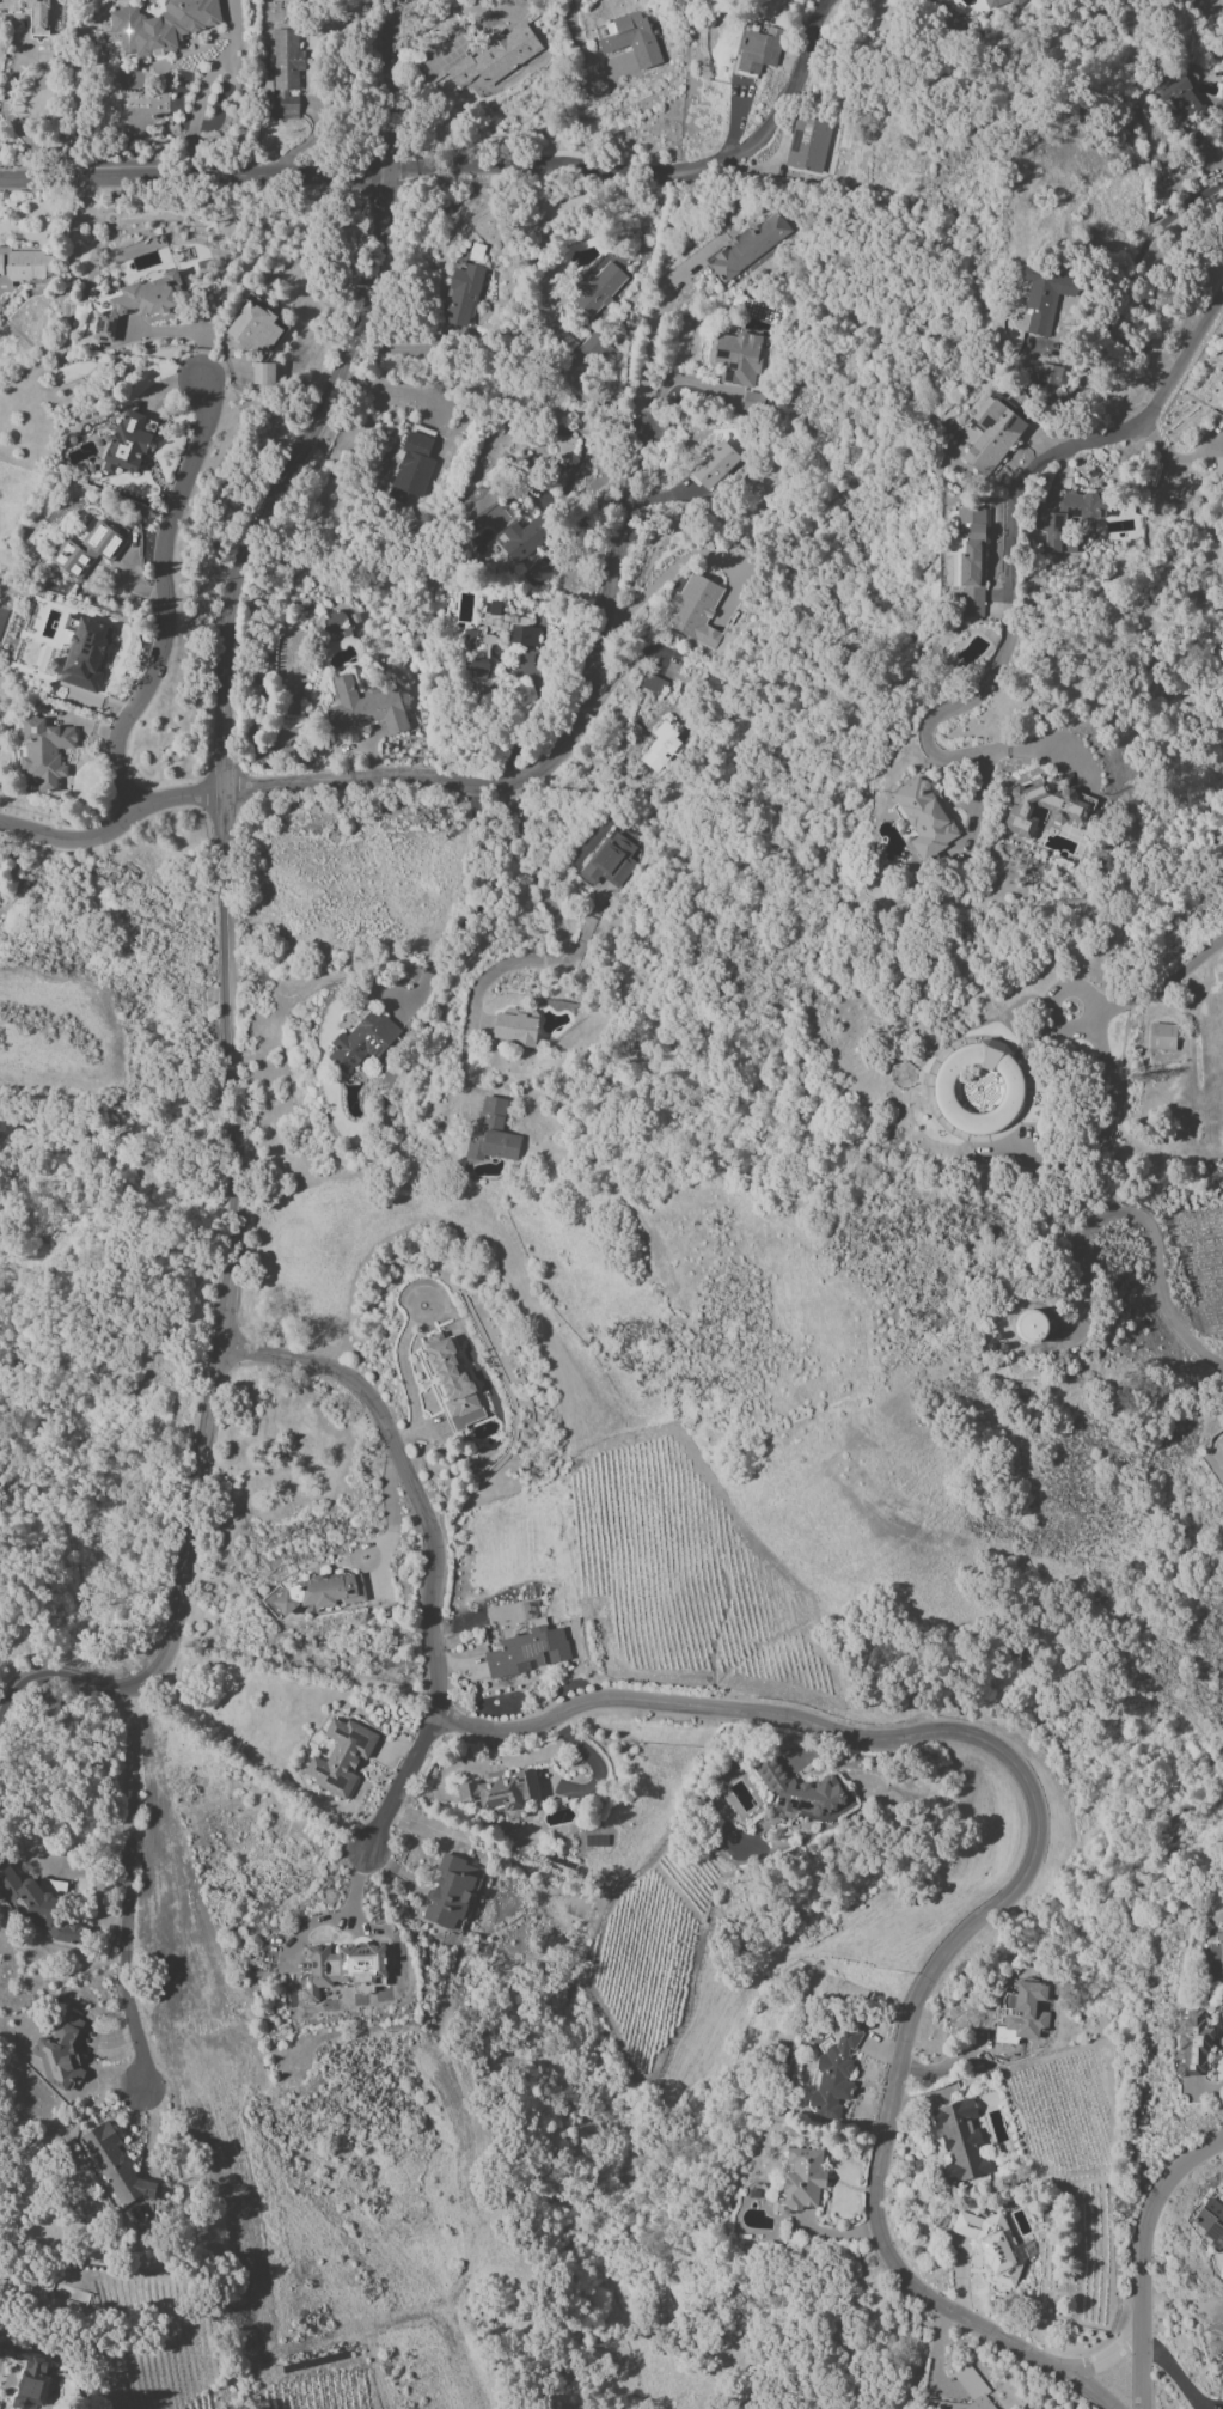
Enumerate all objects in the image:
building: (996, 5)
building: (31, 13)
building: (161, 25)
building: (628, 38)
road: (577, 39)
building: (759, 50)
building: (496, 56)
building: (285, 73)
road: (387, 85)
building: (1175, 94)
road: (782, 102)
building: (807, 145)
road: (544, 171)
road: (195, 176)
building: (748, 246)
building: (25, 266)
building: (599, 288)
building: (461, 295)
building: (137, 303)
road: (1109, 312)
building: (256, 325)
road: (652, 325)
road: (182, 330)
road: (402, 348)
building: (591, 350)
building: (1052, 352)
building: (740, 358)
building: (263, 373)
building: (1048, 374)
road: (393, 386)
road: (1164, 386)
building: (991, 434)
building: (126, 444)
road: (1175, 456)
building: (714, 466)
building: (1218, 466)
building: (411, 469)
building: (1051, 525)
building: (521, 539)
building: (88, 550)
building: (968, 560)
building: (539, 572)
road: (666, 573)
road: (167, 596)
building: (695, 610)
building: (341, 623)
building: (497, 638)
road: (1003, 642)
building: (82, 657)
building: (365, 708)
building: (661, 748)
road: (1048, 750)
building: (43, 751)
road: (554, 752)
building: (1047, 807)
building: (924, 817)
road: (111, 829)
road: (487, 904)
road: (555, 960)
road: (1174, 977)
road: (1068, 987)
road: (226, 999)
road: (1100, 1018)
road: (1086, 1024)
building: (515, 1027)
building: (1162, 1036)
building: (362, 1041)
building: (901, 1074)
building: (943, 1087)
building: (493, 1132)
road: (1099, 1136)
road: (1154, 1242)
building: (1032, 1327)
building: (1221, 1449)
road: (389, 1519)
building: (320, 1593)
building: (526, 1649)
road: (895, 1736)
building: (341, 1757)
building: (776, 1779)
road: (410, 1783)
building: (505, 1792)
road: (126, 1890)
building: (451, 1895)
building: (38, 1904)
road: (346, 1915)
building: (343, 1968)
building: (1025, 2013)
road: (106, 2039)
building: (1192, 2043)
building: (60, 2055)
building: (833, 2073)
road: (153, 2131)
building: (960, 2141)
building: (115, 2165)
building: (802, 2179)
road: (1164, 2190)
building: (1211, 2221)
building: (991, 2245)
road: (1141, 2336)
building: (1216, 2341)
road: (1106, 2362)
building: (30, 2370)
road: (1170, 2370)
building: (965, 2392)

